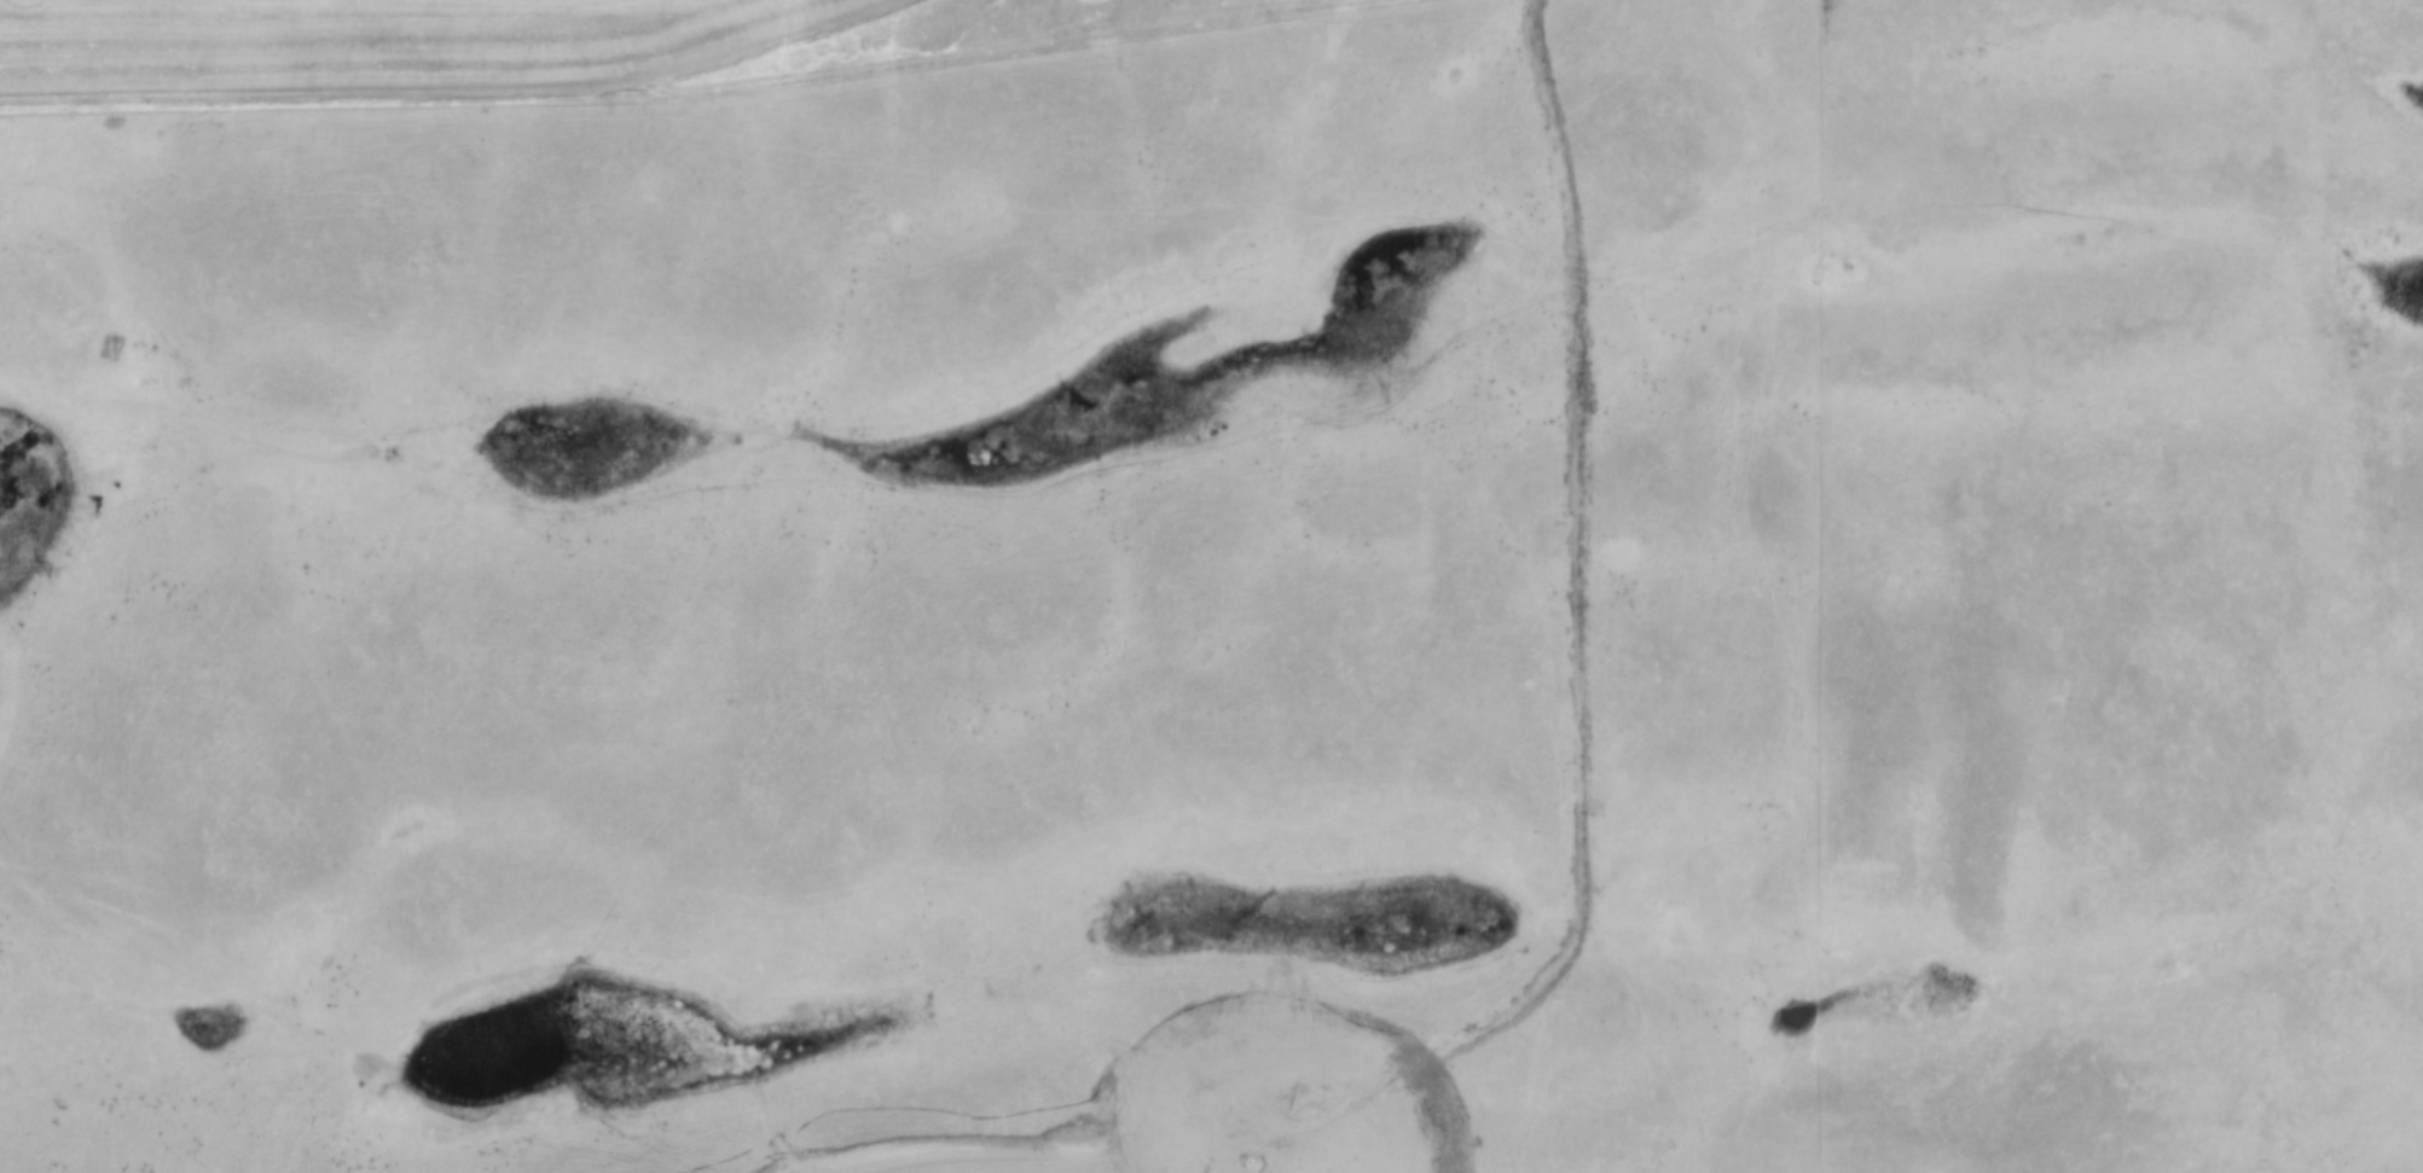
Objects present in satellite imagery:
wind turbine: (1253, 1166)

